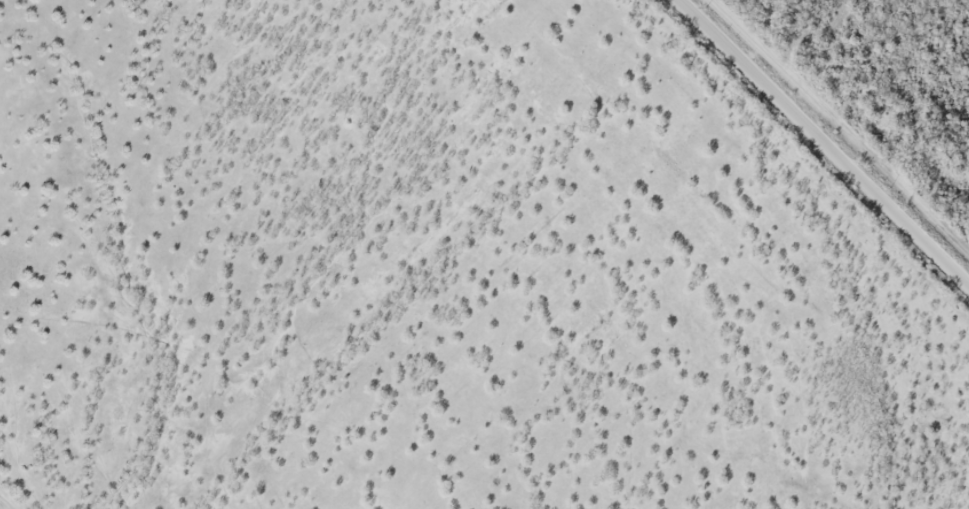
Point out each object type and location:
road: (833, 131)

